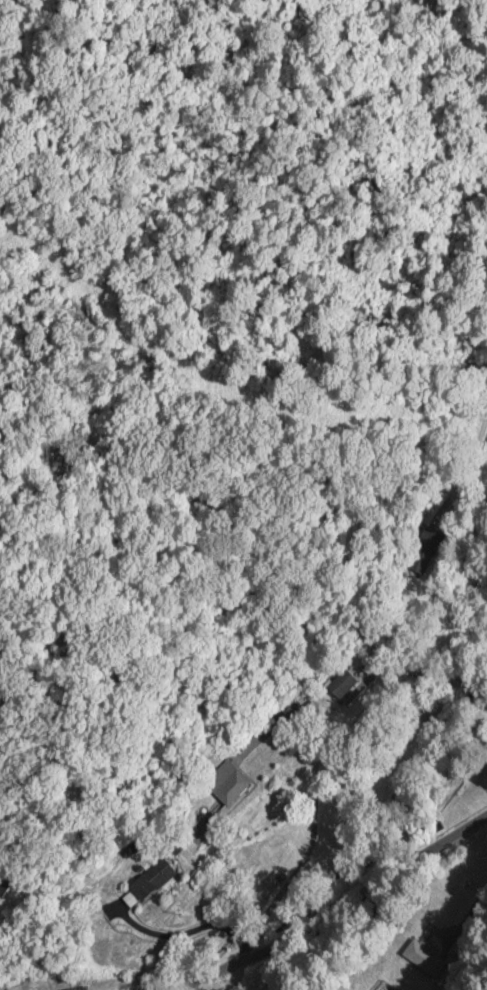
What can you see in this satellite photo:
building: (424, 550)
building: (340, 684)
building: (482, 777)
building: (225, 783)
building: (150, 878)
building: (3, 886)
road: (340, 916)
building: (420, 954)

